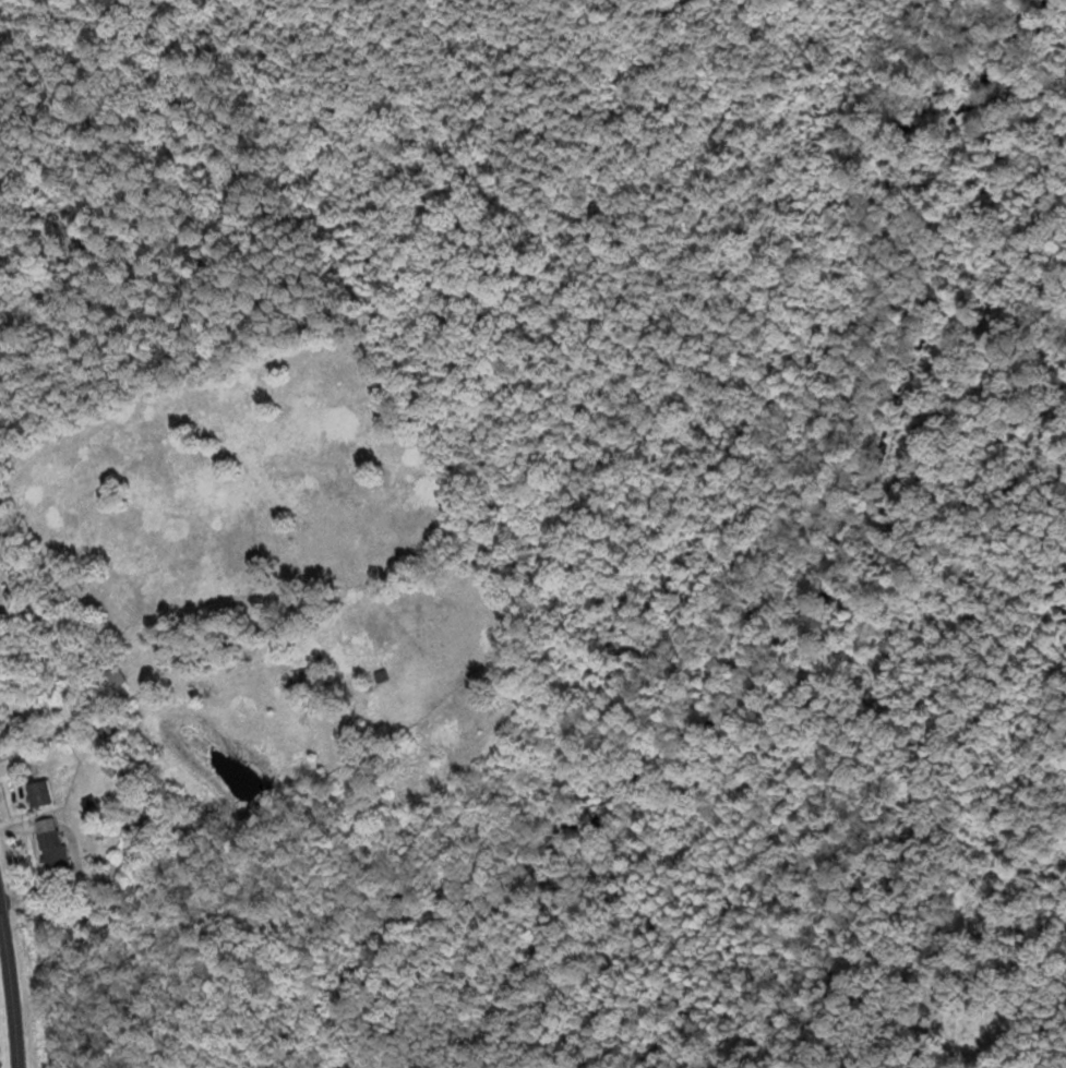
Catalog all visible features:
building: (117, 675)
building: (301, 677)
building: (113, 729)
building: (41, 792)
building: (52, 841)
road: (13, 982)

